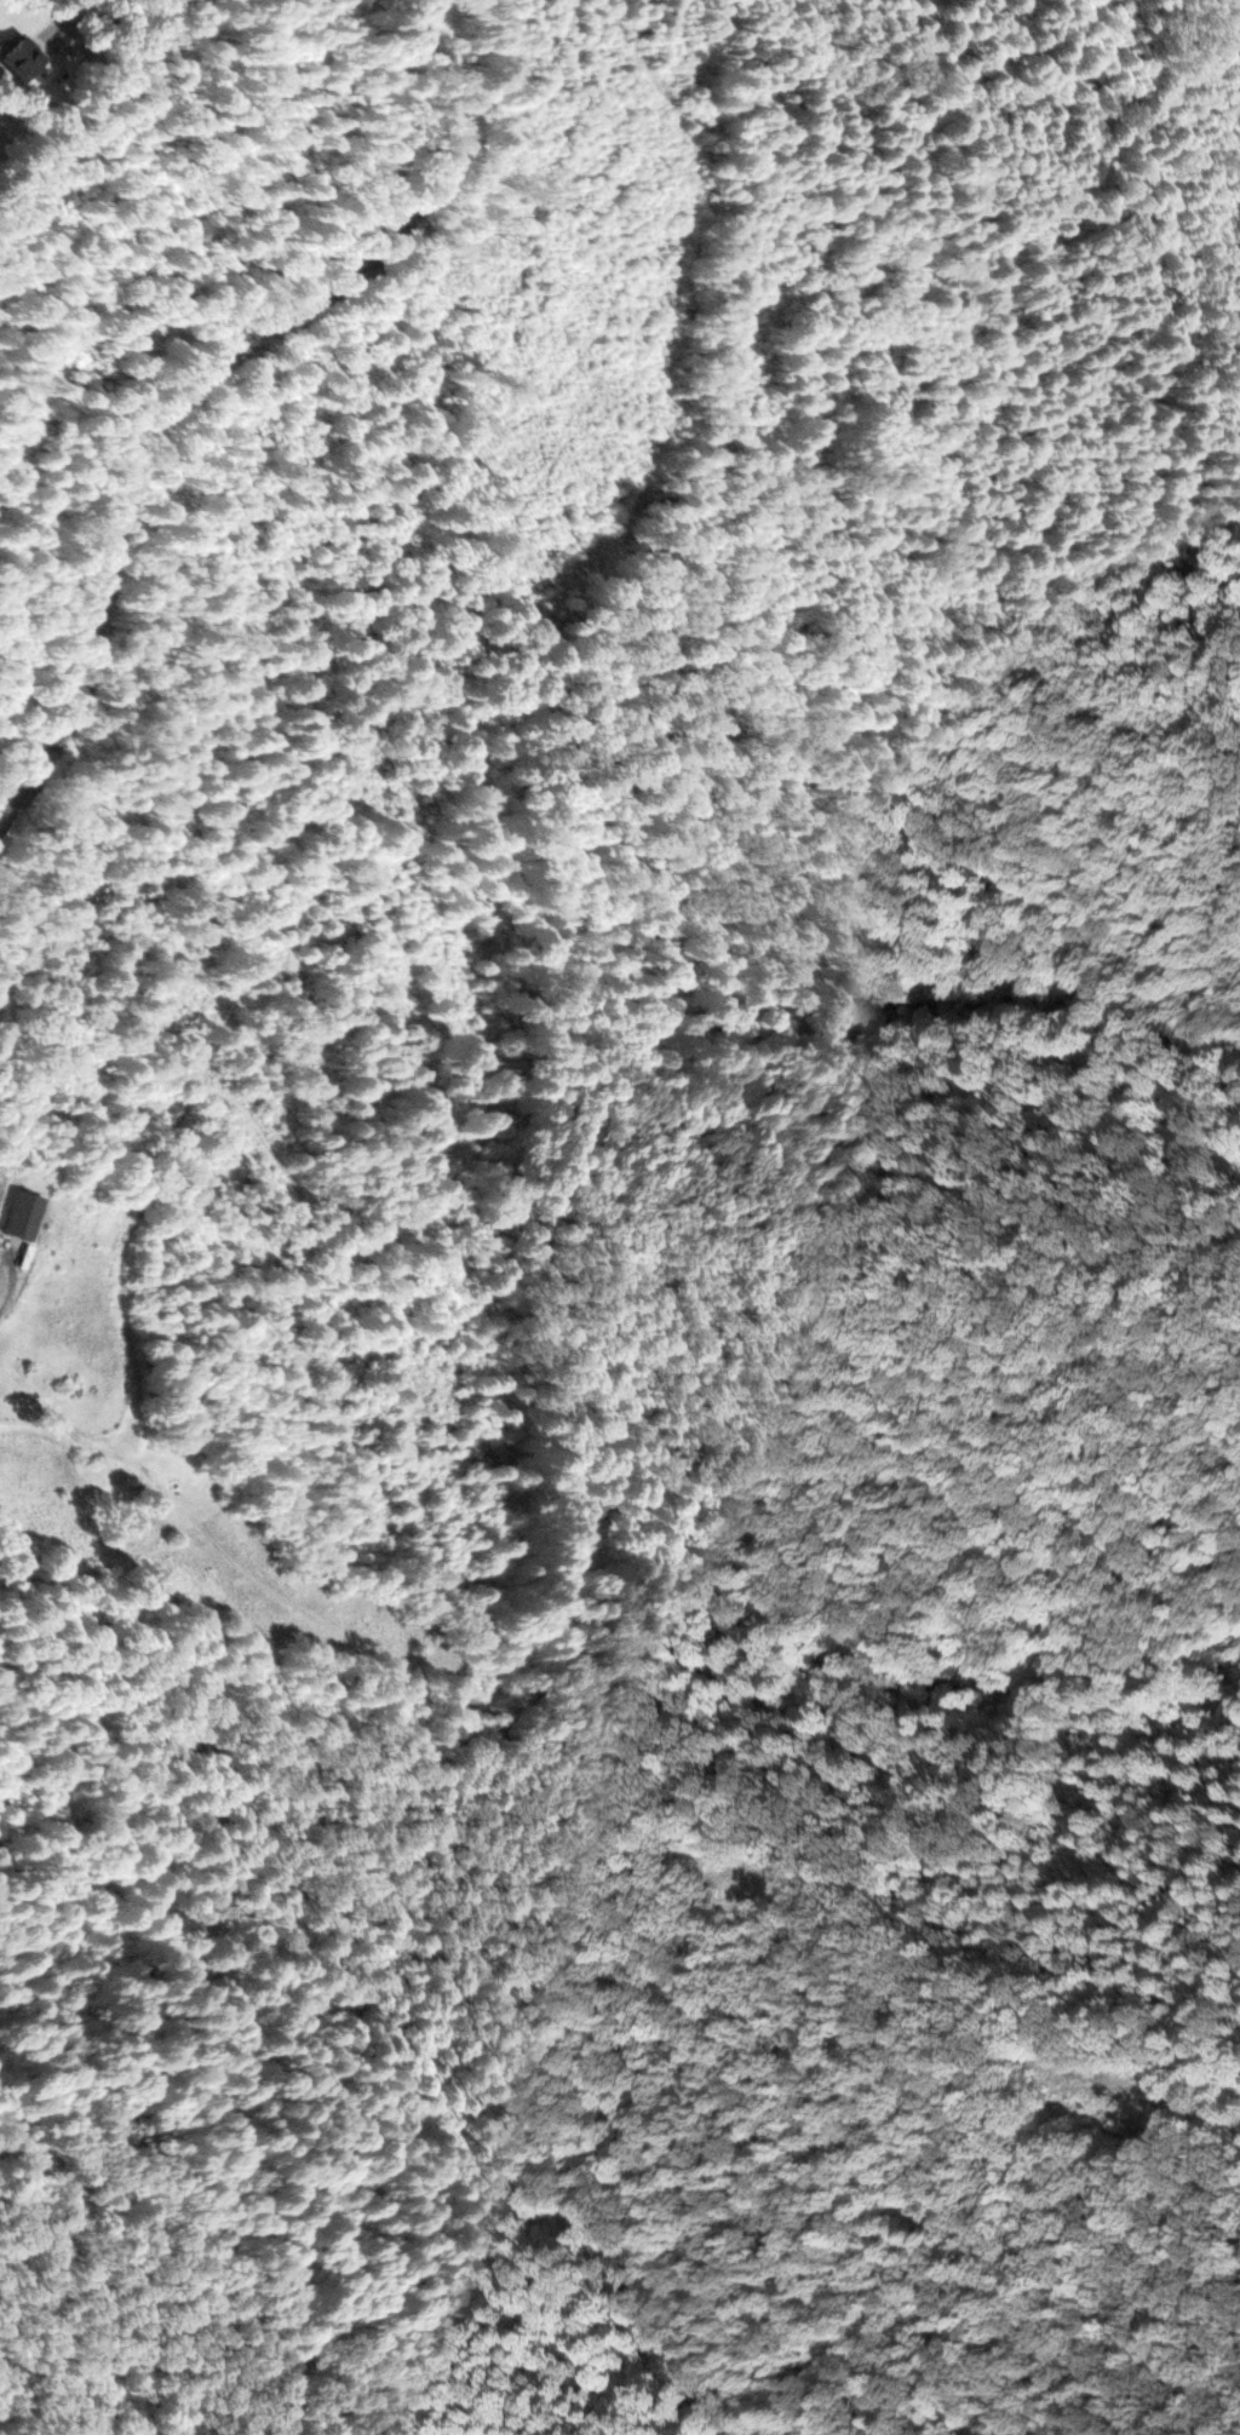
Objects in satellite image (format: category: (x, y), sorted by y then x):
building: (21, 59)
road: (184, 379)
building: (22, 1214)

